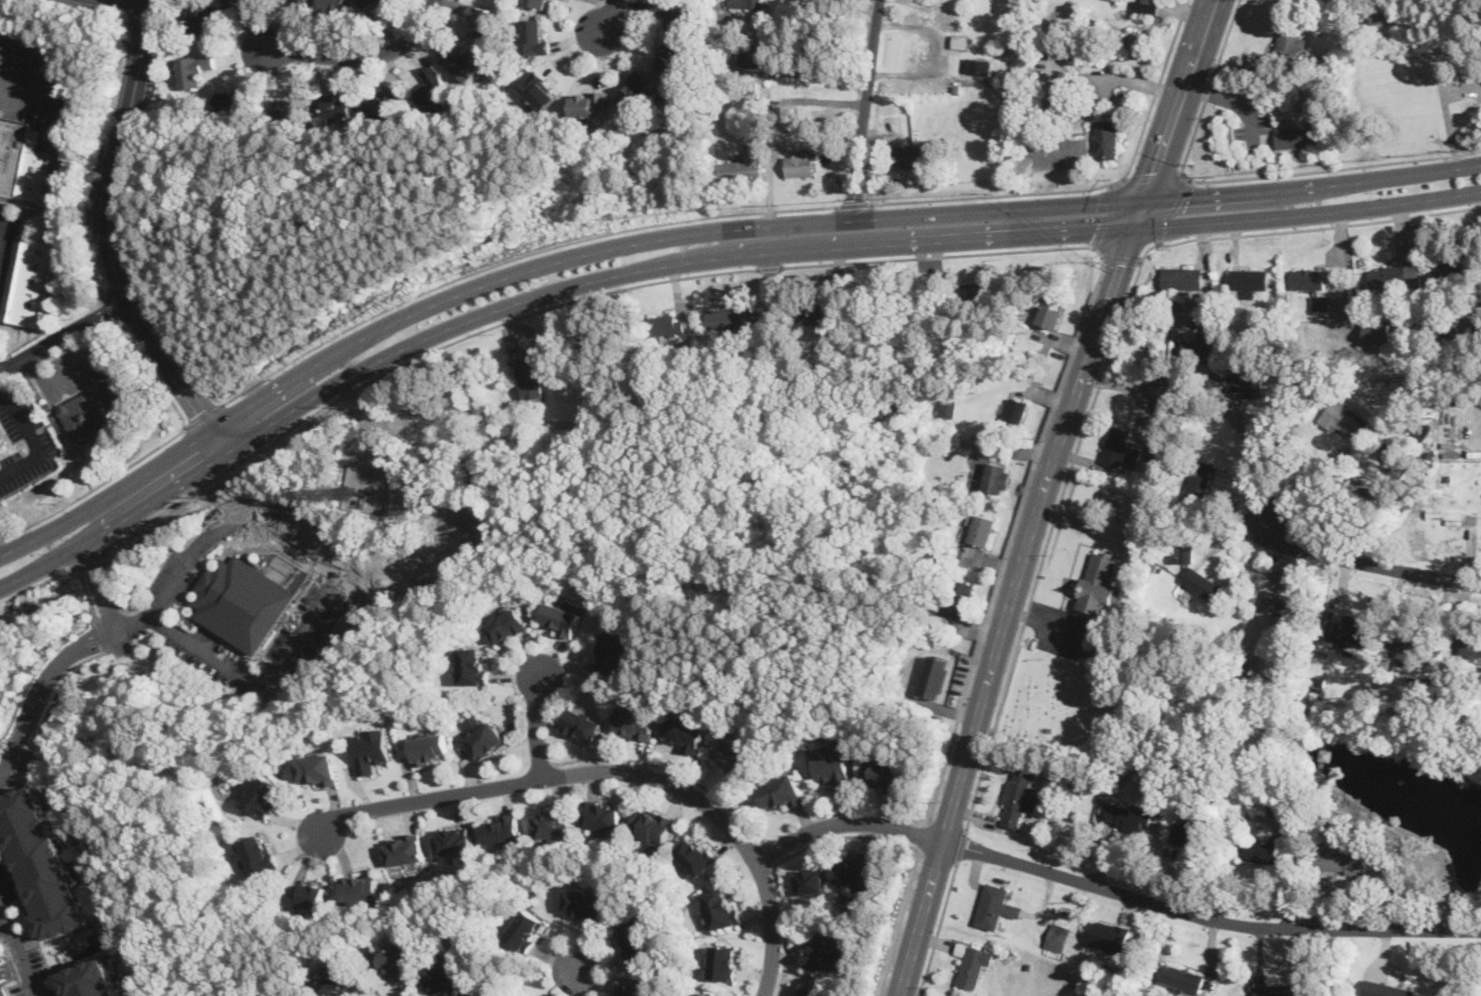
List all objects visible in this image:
building: (236, 0)
building: (302, 0)
building: (372, 3)
building: (538, 3)
building: (748, 3)
road: (130, 4)
building: (333, 5)
building: (1146, 6)
road: (84, 9)
road: (132, 10)
building: (674, 11)
building: (1384, 15)
road: (816, 16)
building: (202, 18)
road: (607, 19)
building: (483, 24)
building: (535, 36)
building: (1293, 40)
building: (925, 53)
building: (757, 54)
road: (359, 57)
building: (670, 62)
building: (468, 64)
building: (195, 69)
road: (38, 73)
road: (817, 73)
building: (432, 87)
road: (1209, 87)
building: (539, 89)
building: (634, 91)
road: (1181, 101)
building: (229, 102)
building: (384, 102)
building: (588, 104)
building: (340, 106)
building: (286, 109)
road: (866, 110)
road: (1447, 120)
building: (1107, 138)
building: (1296, 138)
building: (13, 152)
building: (911, 155)
road: (99, 159)
building: (744, 162)
building: (801, 164)
road: (1330, 168)
traffic signals: (1156, 171)
building: (37, 175)
road: (1151, 177)
road: (1313, 184)
road: (1090, 187)
traffic signals: (1190, 197)
road: (852, 204)
road: (1173, 209)
road: (1309, 213)
road: (1141, 214)
road: (1107, 216)
traffic signals: (1097, 229)
road: (2, 231)
road: (110, 239)
parking lot: (8, 248)
road: (937, 255)
road: (514, 257)
road: (1122, 257)
traffic signals: (1125, 264)
road: (769, 266)
road: (537, 267)
building: (1388, 276)
building: (1453, 276)
building: (1182, 277)
building: (1312, 278)
building: (1248, 279)
building: (31, 282)
road: (533, 296)
building: (969, 296)
road: (111, 309)
building: (1048, 313)
building: (730, 317)
building: (821, 317)
building: (1476, 317)
building: (664, 324)
building: (1380, 332)
road: (64, 337)
building: (1196, 350)
parking lot: (81, 368)
building: (537, 371)
road: (59, 376)
road: (1102, 376)
road: (368, 381)
building: (1168, 384)
building: (1236, 384)
road: (768, 395)
building: (944, 408)
building: (1016, 411)
building: (95, 414)
road: (203, 416)
building: (1344, 419)
building: (1420, 428)
road: (57, 430)
road: (31, 439)
parking lot: (26, 446)
building: (1124, 448)
building: (0, 449)
road: (148, 451)
building: (1155, 451)
building: (1392, 457)
road: (1251, 459)
building: (367, 474)
building: (990, 479)
building: (1200, 483)
building: (1456, 516)
building: (975, 529)
road: (1012, 533)
road: (88, 557)
road: (1367, 563)
road: (64, 570)
building: (1195, 573)
building: (1100, 584)
road: (99, 586)
building: (957, 599)
building: (242, 601)
building: (1283, 602)
road: (1010, 608)
building: (560, 618)
road: (134, 623)
building: (508, 625)
building: (1352, 632)
road: (104, 636)
road: (193, 642)
building: (1466, 644)
building: (613, 648)
building: (1410, 650)
building: (474, 665)
building: (934, 676)
road: (43, 691)
road: (47, 704)
building: (635, 721)
building: (582, 724)
road: (534, 725)
building: (685, 732)
building: (486, 739)
building: (430, 747)
building: (371, 749)
building: (733, 755)
building: (834, 765)
building: (318, 769)
road: (672, 769)
road: (550, 775)
building: (884, 775)
building: (784, 793)
building: (265, 796)
building: (1021, 798)
building: (1278, 810)
building: (603, 814)
building: (1128, 817)
road: (847, 821)
building: (553, 822)
building: (655, 824)
building: (502, 828)
building: (1187, 834)
road: (923, 836)
building: (454, 839)
road: (962, 845)
building: (405, 850)
building: (1260, 850)
road: (770, 853)
building: (258, 854)
building: (697, 854)
road: (783, 858)
building: (1342, 861)
building: (36, 864)
building: (857, 871)
building: (812, 881)
building: (362, 888)
building: (308, 894)
building: (584, 903)
building: (995, 905)
building: (722, 907)
road: (1207, 917)
road: (2, 920)
road: (899, 922)
road: (774, 926)
building: (527, 929)
road: (938, 929)
building: (1056, 935)
building: (1108, 936)
building: (636, 938)
building: (826, 951)
road: (16, 952)
building: (724, 961)
building: (973, 961)
building: (392, 963)
building: (339, 978)
road: (577, 978)
building: (1182, 978)
building: (82, 980)
building: (443, 982)
building: (1276, 989)
building: (1387, 989)
building: (1, 991)
building: (810, 991)
building: (630, 993)
building: (706, 994)

